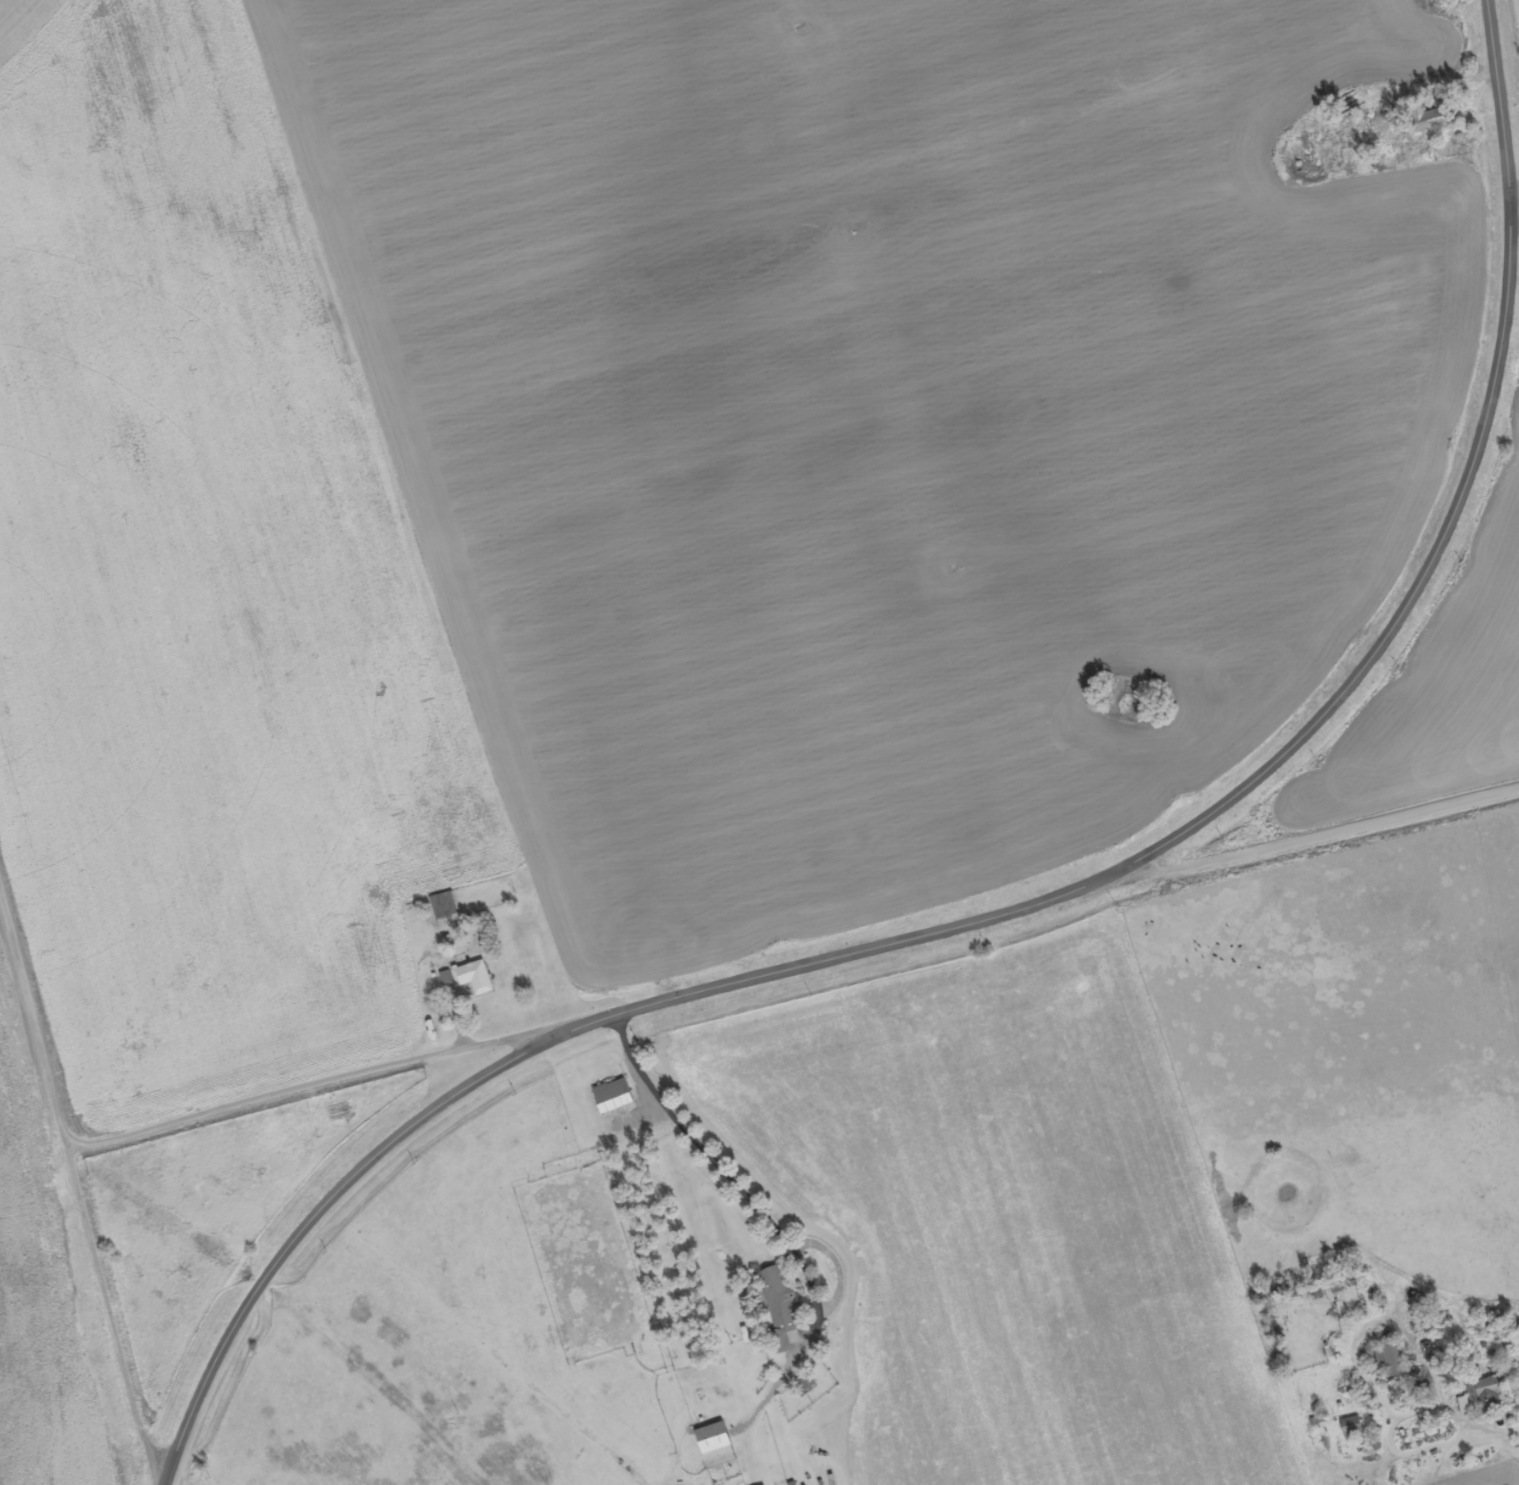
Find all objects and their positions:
building: (1427, 119)
road: (1513, 192)
road: (1368, 794)
road: (1035, 903)
building: (443, 907)
building: (474, 978)
building: (613, 1096)
road: (102, 1158)
road: (773, 1198)
building: (780, 1300)
building: (1389, 1363)
road: (1487, 1391)
building: (1484, 1395)
building: (1352, 1428)
building: (715, 1446)

